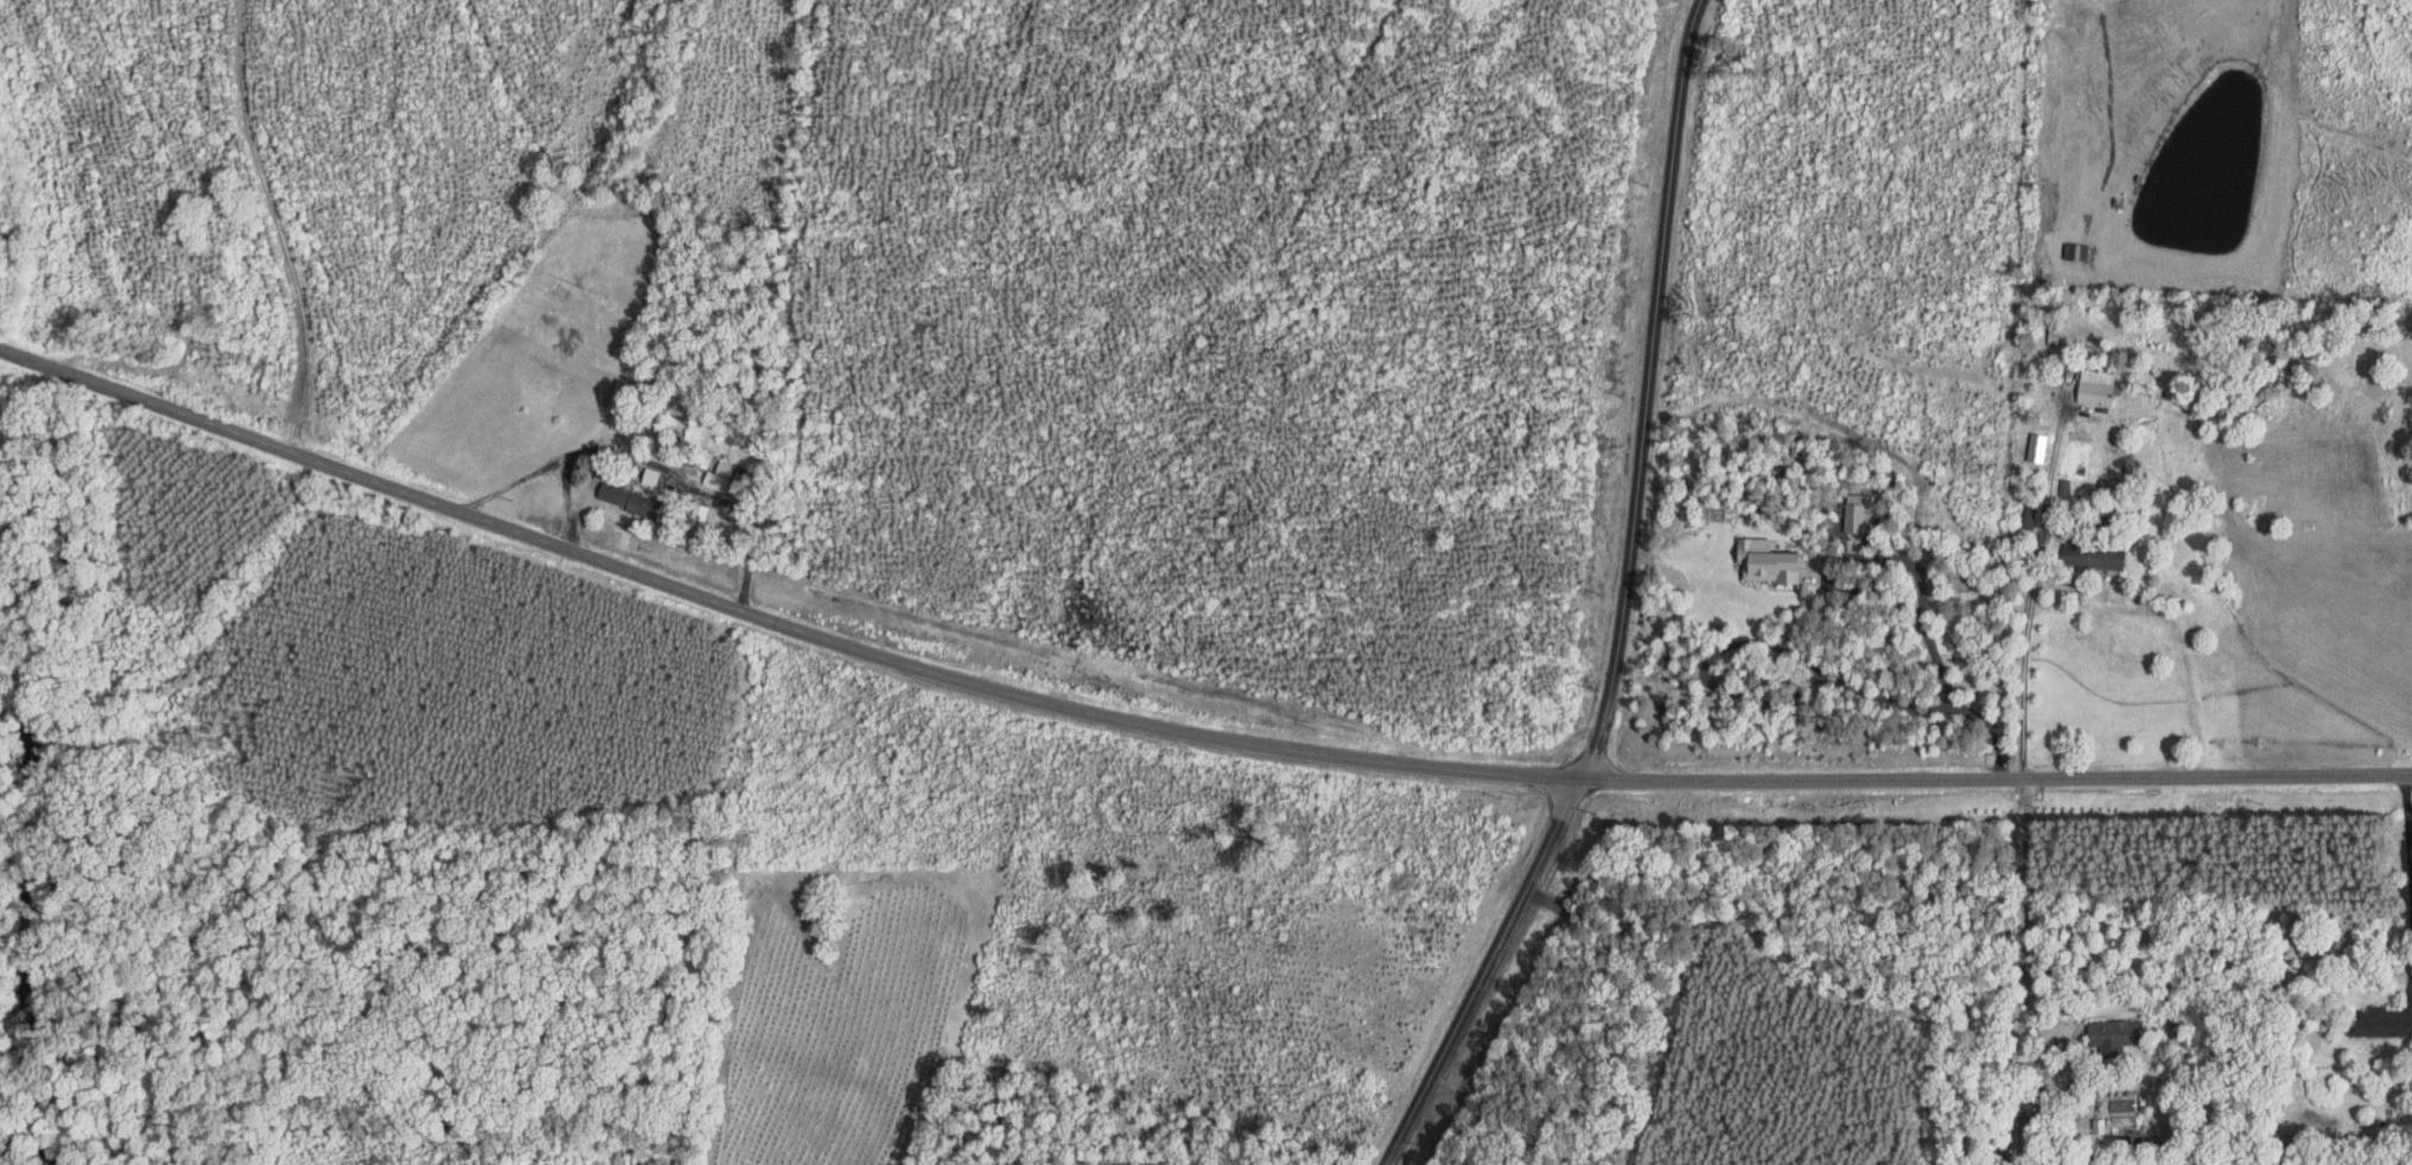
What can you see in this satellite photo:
building: (2077, 249)
building: (2095, 386)
building: (619, 396)
building: (2037, 446)
building: (650, 475)
building: (718, 475)
road: (513, 480)
road: (701, 490)
building: (629, 498)
road: (565, 501)
building: (699, 510)
building: (1859, 511)
building: (2095, 555)
building: (1768, 560)
road: (1622, 605)
road: (2025, 652)
road: (1941, 664)
road: (1177, 727)
road: (2408, 819)
road: (2028, 908)
building: (2382, 1021)
building: (2114, 1035)

